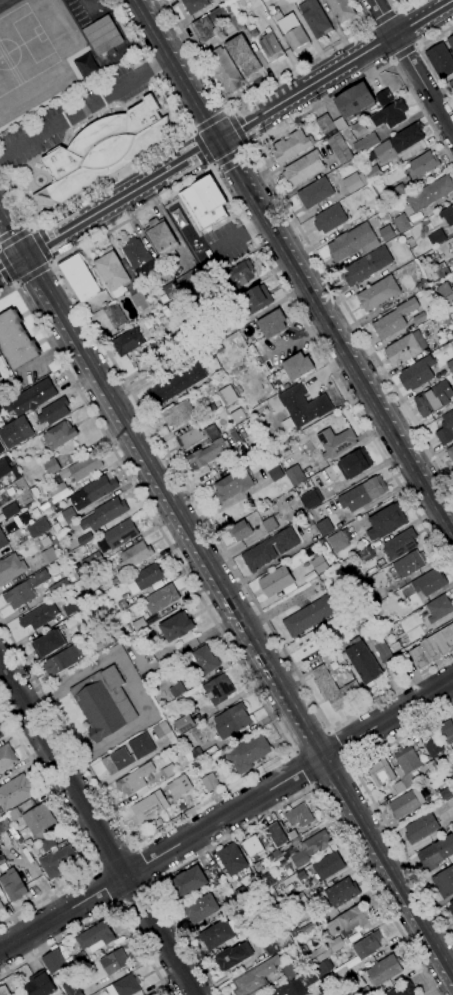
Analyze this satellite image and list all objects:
park: (1, 0)
building: (254, 3)
building: (195, 5)
road: (399, 8)
building: (341, 9)
road: (394, 10)
road: (100, 13)
building: (226, 16)
road: (382, 17)
building: (315, 18)
road: (370, 24)
road: (160, 26)
building: (202, 29)
building: (290, 30)
building: (102, 35)
building: (450, 42)
road: (377, 44)
road: (415, 45)
park: (21, 47)
building: (272, 48)
road: (403, 51)
road: (194, 54)
building: (243, 55)
road: (309, 58)
road: (424, 58)
road: (392, 59)
building: (440, 60)
park: (25, 61)
road: (176, 63)
road: (148, 65)
road: (413, 65)
building: (87, 67)
road: (173, 70)
building: (224, 70)
road: (198, 78)
building: (451, 85)
building: (384, 98)
building: (354, 101)
road: (79, 103)
road: (320, 104)
road: (83, 107)
road: (226, 110)
road: (422, 112)
building: (390, 114)
road: (258, 115)
road: (89, 120)
road: (208, 122)
building: (339, 124)
building: (326, 126)
building: (359, 127)
road: (79, 129)
road: (234, 129)
road: (189, 131)
road: (229, 131)
traffic signals: (230, 132)
traffic signals: (214, 141)
building: (366, 143)
building: (397, 143)
road: (246, 146)
building: (291, 146)
road: (201, 148)
building: (339, 148)
building: (103, 149)
road: (227, 154)
road: (225, 158)
building: (421, 165)
road: (211, 166)
building: (303, 169)
road: (118, 171)
building: (372, 173)
road: (255, 176)
building: (354, 182)
building: (397, 192)
building: (315, 193)
road: (83, 194)
building: (430, 194)
building: (385, 197)
road: (119, 198)
road: (256, 199)
building: (204, 203)
building: (447, 215)
building: (330, 219)
building: (425, 222)
building: (401, 223)
road: (109, 229)
building: (386, 233)
road: (12, 234)
road: (15, 236)
building: (162, 237)
building: (436, 238)
parking lot: (231, 239)
building: (452, 239)
building: (352, 242)
building: (410, 243)
road: (41, 245)
traffic signals: (25, 255)
building: (138, 257)
road: (12, 262)
traffic signals: (10, 264)
road: (10, 265)
building: (367, 266)
building: (441, 270)
road: (7, 273)
road: (33, 275)
building: (238, 275)
building: (79, 277)
building: (120, 278)
building: (188, 280)
building: (422, 285)
building: (170, 291)
building: (378, 293)
building: (446, 293)
building: (253, 301)
building: (430, 313)
building: (114, 315)
building: (419, 318)
road: (350, 319)
building: (394, 319)
road: (45, 321)
building: (272, 324)
building: (207, 334)
building: (444, 339)
building: (16, 340)
building: (128, 342)
road: (72, 343)
building: (405, 348)
building: (201, 349)
road: (344, 360)
road: (359, 360)
building: (450, 365)
building: (297, 366)
road: (332, 373)
building: (417, 373)
building: (452, 377)
building: (177, 384)
building: (7, 388)
building: (227, 396)
building: (31, 398)
building: (434, 398)
building: (302, 407)
building: (54, 411)
building: (179, 414)
building: (238, 415)
building: (446, 428)
building: (16, 432)
building: (59, 434)
building: (196, 436)
building: (336, 442)
building: (1, 449)
building: (450, 452)
building: (207, 454)
building: (354, 464)
building: (51, 466)
building: (82, 467)
building: (8, 468)
building: (272, 468)
building: (295, 475)
road: (159, 480)
building: (233, 484)
building: (96, 489)
building: (34, 492)
building: (59, 492)
building: (362, 494)
building: (311, 499)
building: (44, 506)
building: (10, 510)
road: (147, 510)
building: (104, 514)
building: (69, 515)
building: (304, 522)
building: (385, 522)
building: (269, 524)
road: (174, 527)
building: (325, 527)
building: (38, 528)
building: (240, 530)
building: (120, 534)
building: (85, 539)
building: (3, 540)
building: (339, 540)
building: (399, 544)
building: (269, 549)
building: (366, 554)
building: (135, 555)
building: (48, 556)
building: (92, 561)
building: (409, 564)
building: (316, 567)
building: (11, 568)
building: (145, 578)
road: (240, 579)
building: (275, 581)
building: (429, 582)
building: (57, 586)
building: (24, 590)
building: (365, 594)
building: (123, 596)
building: (161, 598)
building: (411, 606)
building: (439, 608)
building: (70, 609)
building: (311, 614)
building: (39, 616)
building: (137, 623)
building: (176, 627)
building: (386, 632)
building: (104, 637)
building: (318, 638)
building: (134, 639)
building: (48, 644)
building: (433, 647)
building: (64, 659)
building: (205, 660)
building: (362, 661)
building: (175, 687)
building: (218, 689)
building: (333, 689)
building: (103, 703)
road: (284, 703)
building: (231, 721)
building: (183, 724)
road: (283, 725)
building: (163, 727)
building: (446, 728)
road: (327, 731)
road: (307, 732)
building: (2, 734)
road: (311, 742)
building: (431, 743)
road: (335, 749)
road: (292, 750)
building: (247, 752)
building: (119, 755)
building: (195, 755)
building: (6, 758)
road: (304, 766)
road: (308, 766)
road: (348, 766)
building: (406, 766)
building: (433, 766)
road: (125, 769)
building: (167, 771)
road: (328, 773)
building: (381, 773)
building: (135, 781)
building: (210, 782)
road: (313, 784)
building: (177, 787)
building: (398, 788)
building: (14, 792)
building: (445, 793)
road: (372, 801)
building: (406, 803)
road: (280, 804)
building: (149, 806)
building: (180, 807)
road: (332, 808)
road: (113, 811)
building: (452, 814)
road: (351, 815)
road: (226, 816)
building: (298, 816)
building: (9, 819)
building: (38, 820)
building: (420, 828)
road: (97, 829)
building: (276, 834)
road: (75, 835)
building: (292, 835)
building: (48, 844)
building: (252, 847)
road: (131, 848)
building: (303, 849)
building: (436, 853)
building: (274, 856)
road: (113, 859)
building: (231, 859)
building: (56, 862)
road: (139, 866)
building: (328, 866)
road: (388, 866)
road: (96, 868)
building: (267, 881)
road: (150, 882)
building: (187, 882)
building: (444, 882)
road: (107, 884)
building: (13, 885)
road: (133, 891)
building: (342, 892)
building: (273, 893)
building: (299, 899)
road: (117, 902)
building: (232, 905)
building: (1, 906)
building: (451, 906)
building: (201, 908)
road: (401, 910)
road: (103, 912)
building: (348, 921)
building: (243, 922)
building: (308, 929)
building: (217, 935)
building: (95, 937)
building: (269, 947)
building: (325, 950)
building: (358, 955)
building: (233, 956)
building: (79, 959)
building: (53, 961)
building: (114, 962)
building: (323, 967)
building: (385, 970)
building: (288, 971)
building: (255, 977)
building: (307, 978)
building: (39, 984)
building: (125, 986)
building: (290, 988)
building: (345, 988)
building: (70, 989)
building: (4, 990)
building: (404, 990)
building: (363, 991)
building: (12, 994)
building: (153, 994)
building: (351, 994)

